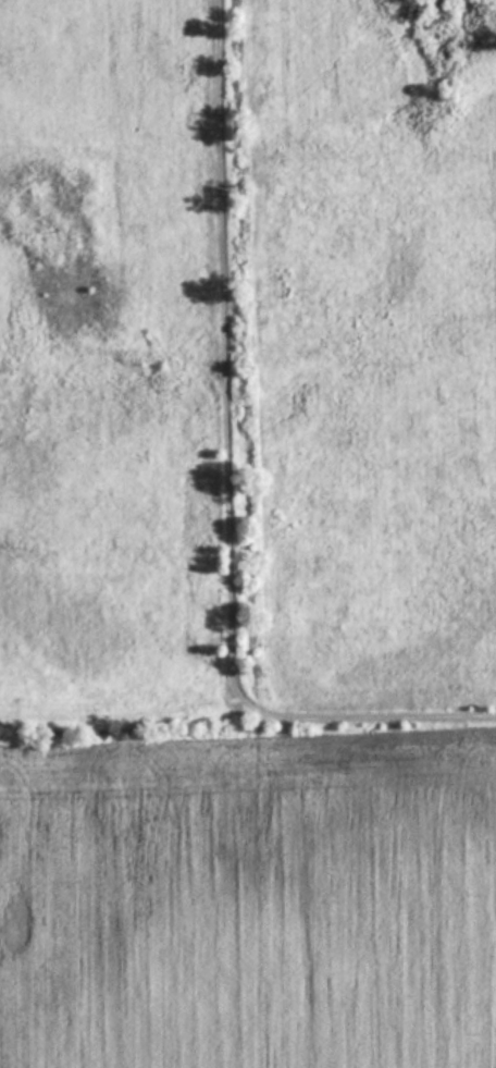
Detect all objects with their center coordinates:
road: (227, 477)

